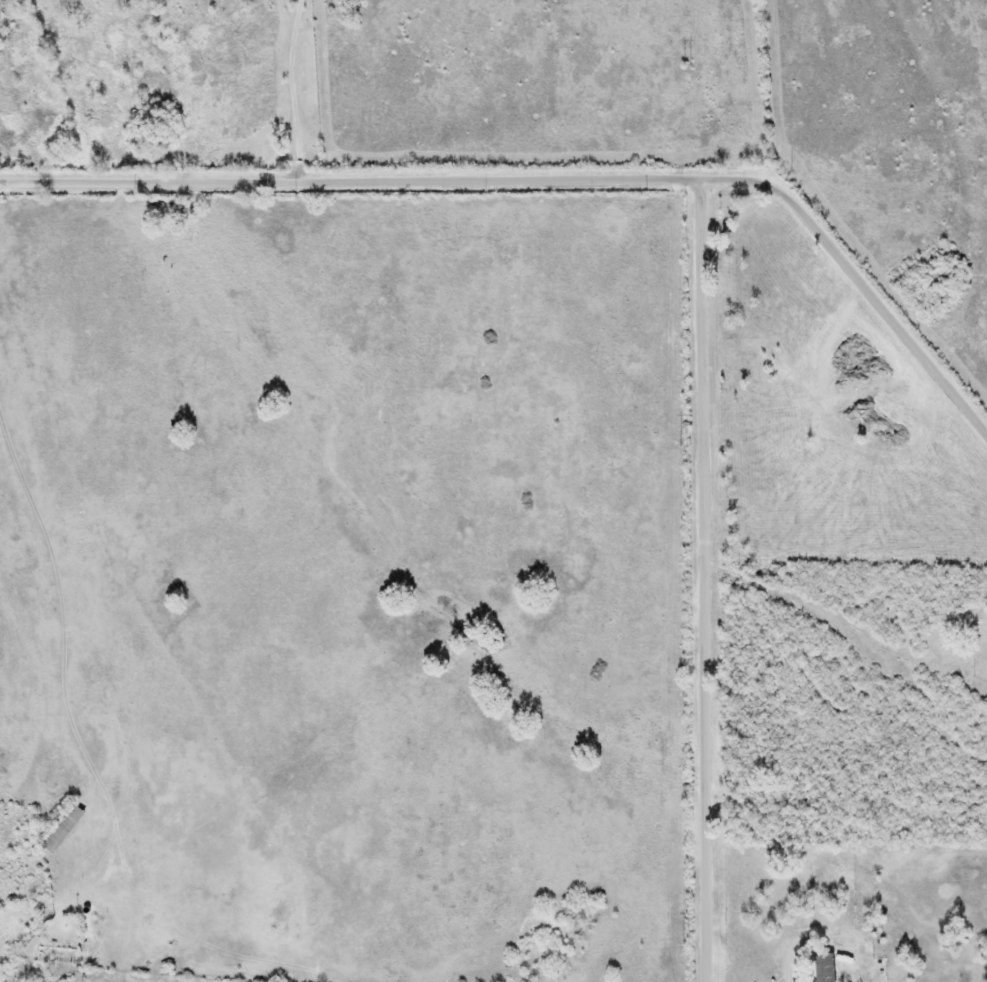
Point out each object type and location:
power tower: (687, 63)
road: (552, 180)
power tower: (684, 445)
road: (692, 581)
building: (66, 827)
power tower: (687, 944)
building: (821, 967)

